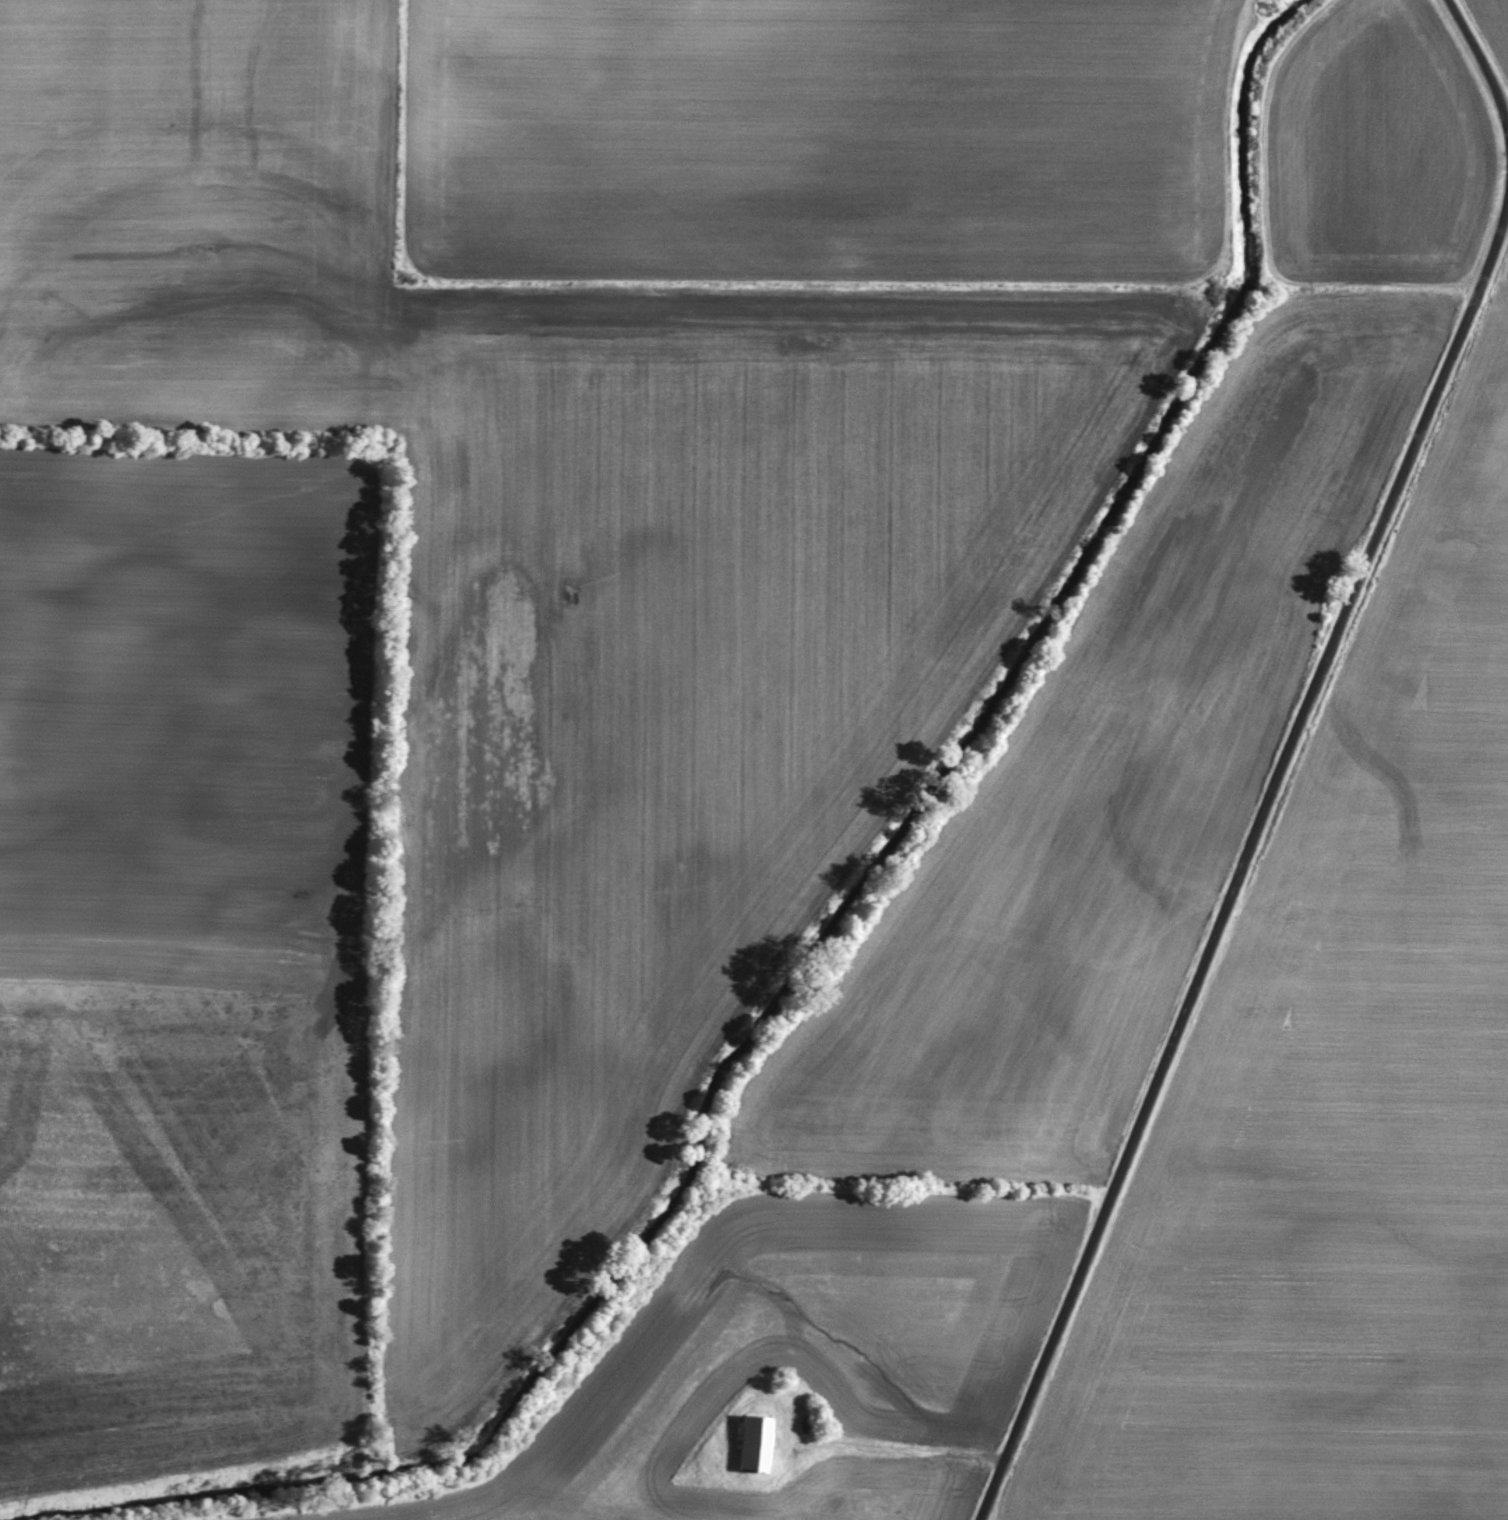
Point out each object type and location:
road: (1477, 60)
road: (1242, 863)
building: (748, 1443)
road: (888, 1452)

